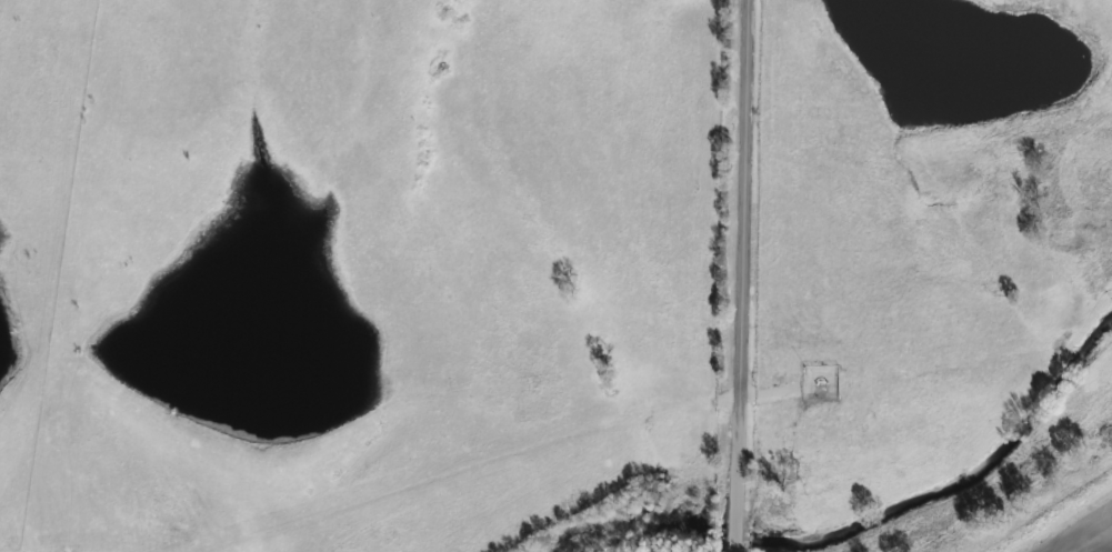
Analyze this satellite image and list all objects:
road: (751, 275)

